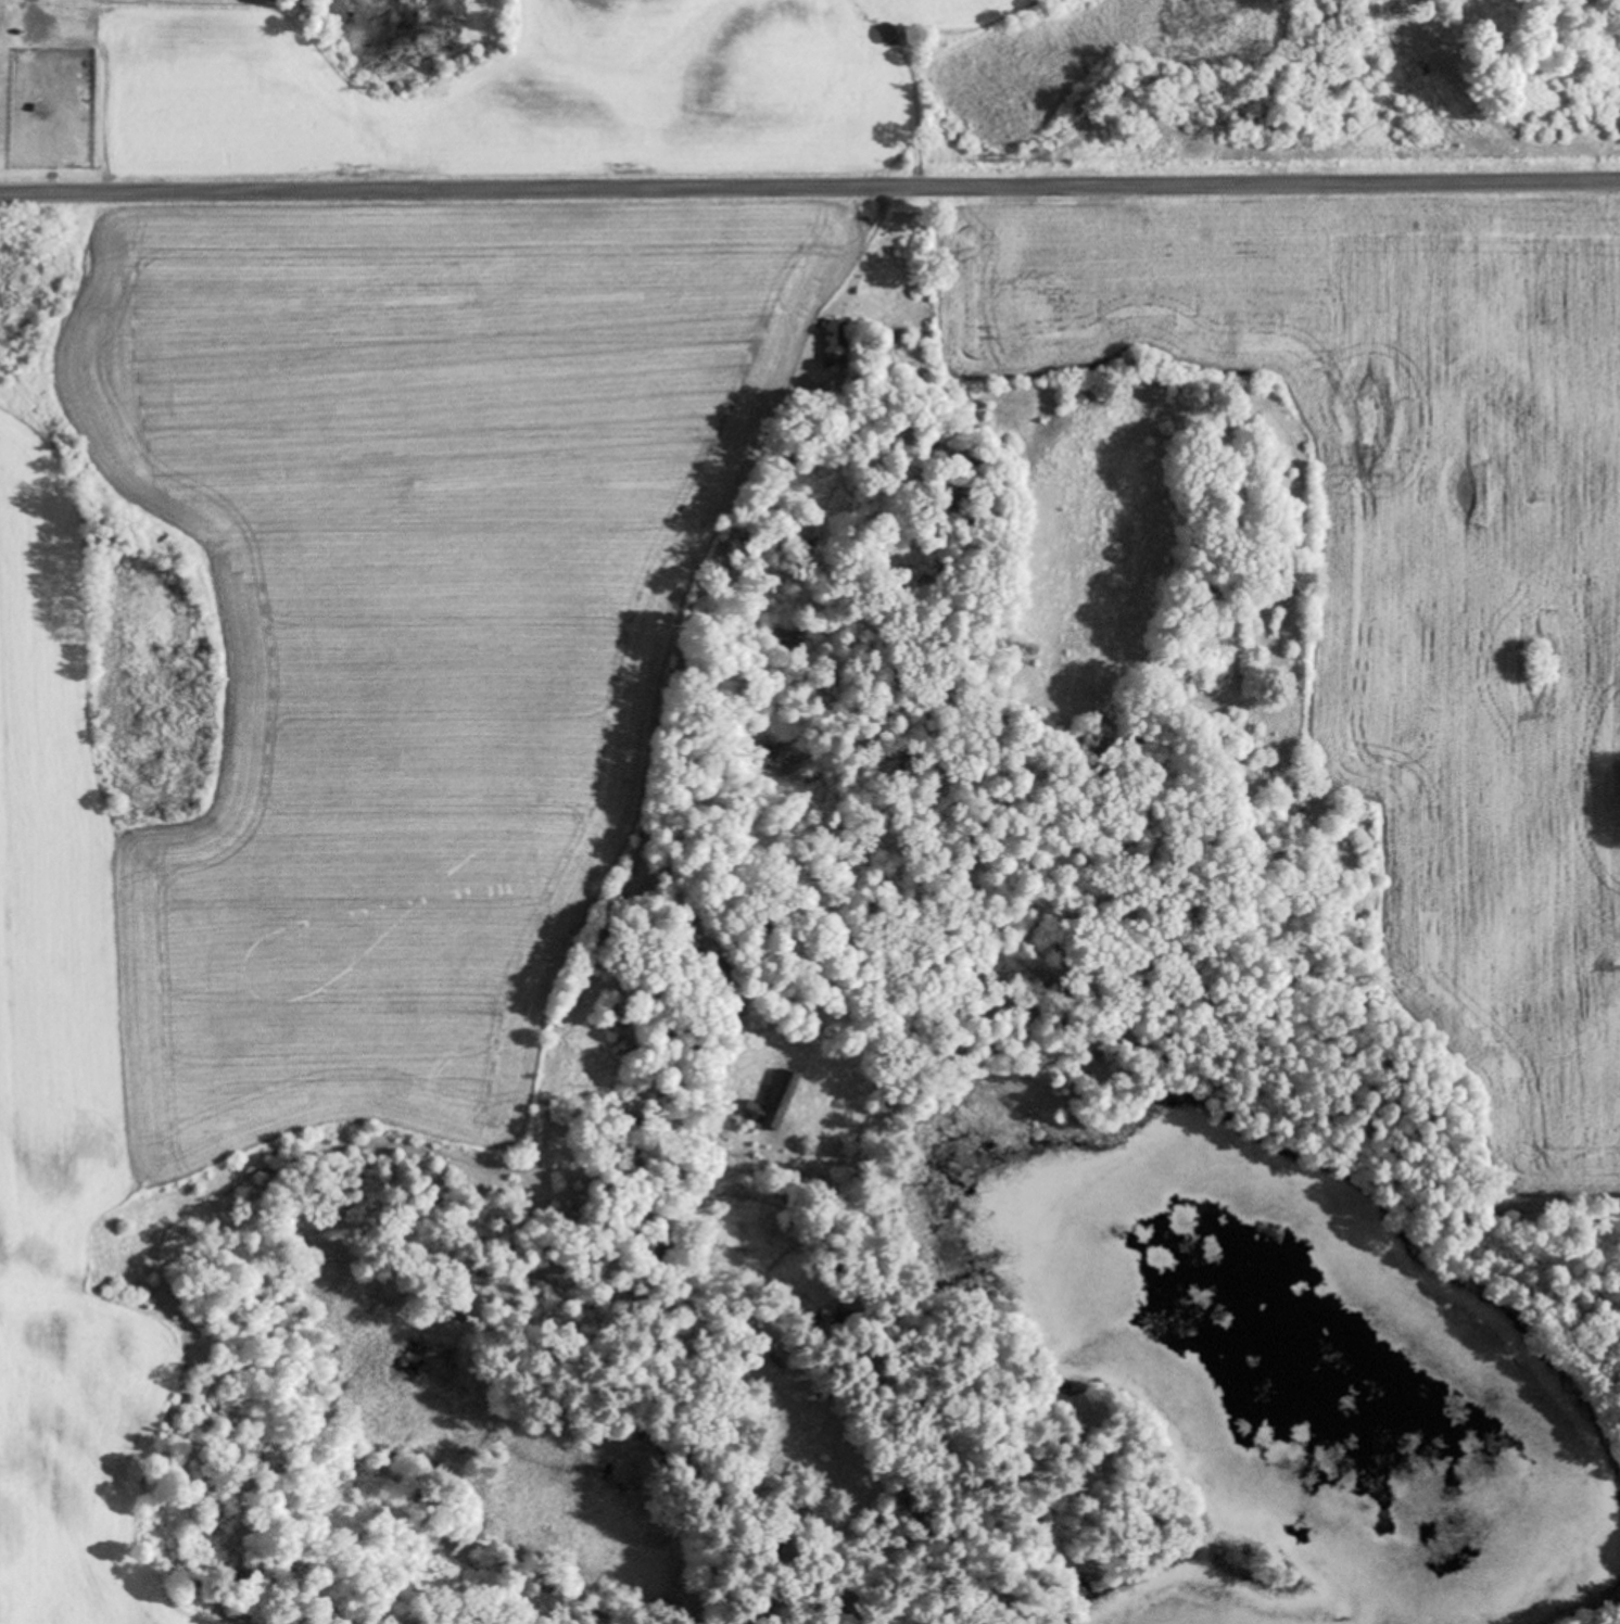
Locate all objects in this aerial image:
road: (810, 201)
building: (836, 343)
building: (777, 1100)
quarry: (1124, 1585)

